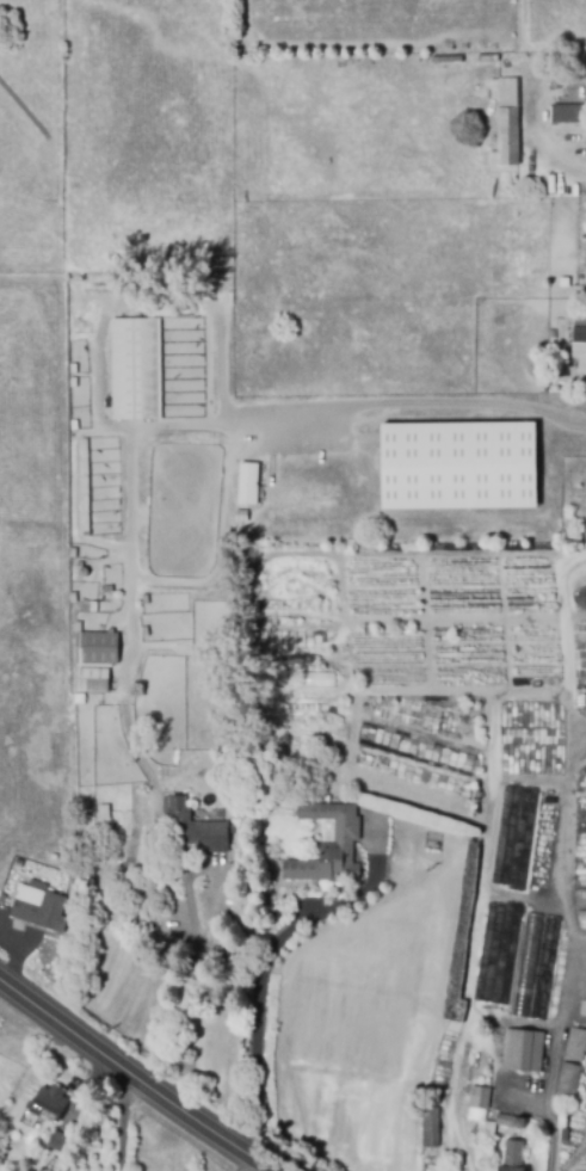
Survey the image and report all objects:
road: (531, 76)
building: (556, 82)
building: (568, 113)
building: (502, 124)
building: (580, 316)
building: (579, 343)
building: (134, 368)
building: (69, 382)
road: (421, 403)
building: (459, 464)
building: (247, 483)
building: (84, 485)
building: (585, 493)
building: (240, 516)
building: (73, 553)
building: (106, 590)
building: (73, 598)
building: (100, 618)
building: (76, 623)
building: (143, 631)
building: (278, 639)
building: (97, 648)
building: (91, 680)
road: (125, 705)
building: (195, 827)
building: (344, 851)
building: (38, 908)
building: (581, 916)
building: (488, 962)
building: (532, 966)
road: (260, 996)
building: (576, 1046)
building: (522, 1052)
road: (556, 1066)
road: (153, 1070)
building: (568, 1081)
building: (480, 1098)
building: (49, 1105)
road: (121, 1114)
building: (511, 1122)
building: (430, 1128)
building: (565, 1135)
building: (56, 1142)
road: (246, 1153)
building: (513, 1157)

